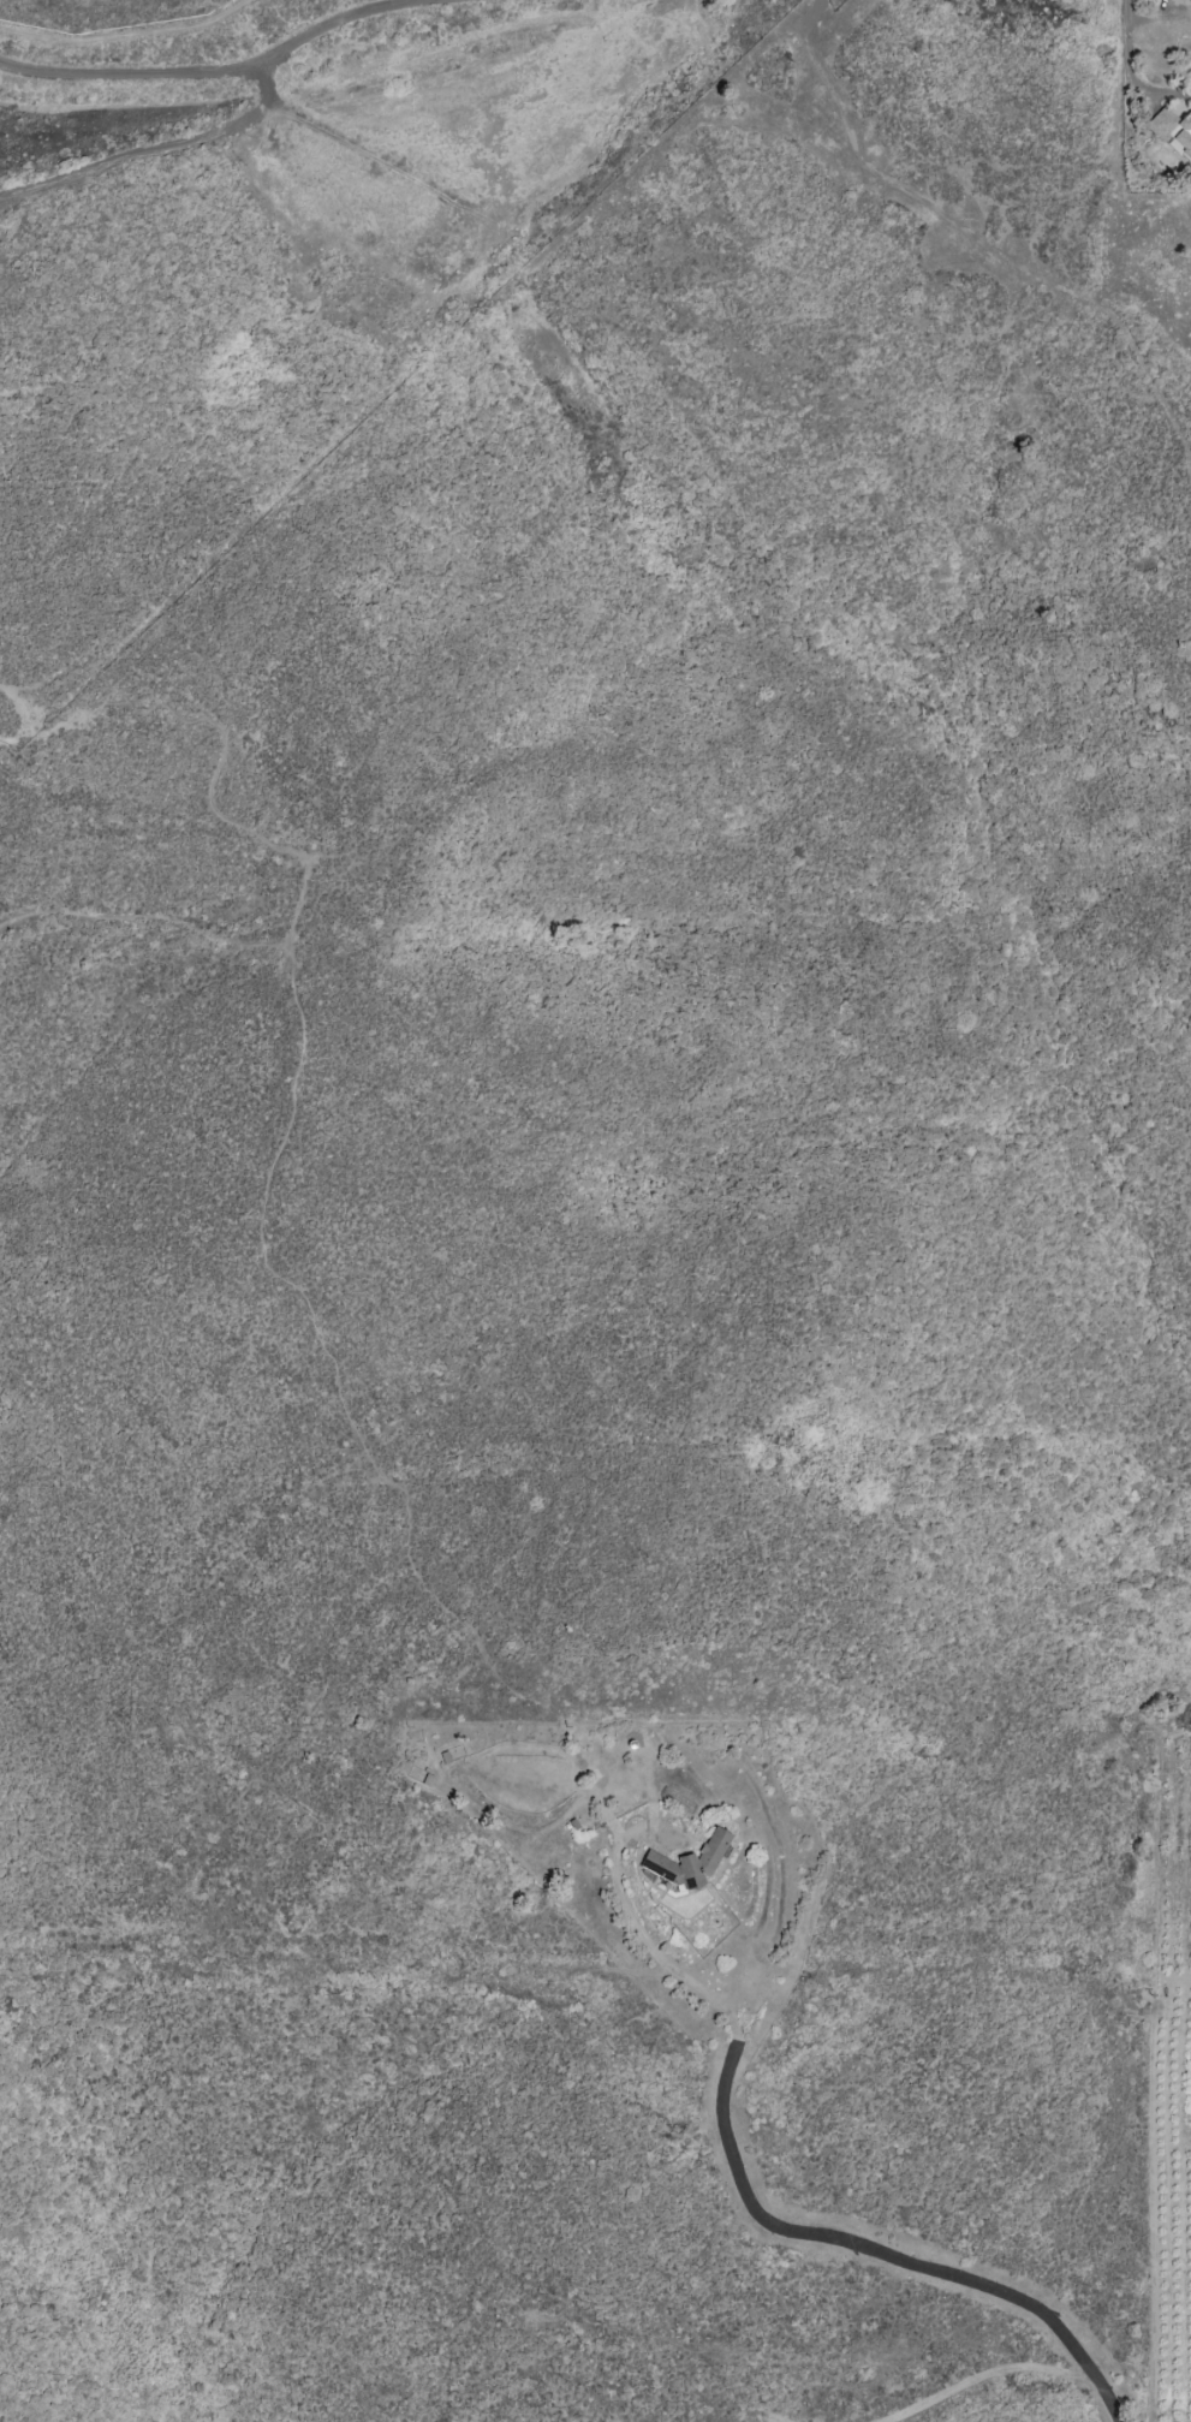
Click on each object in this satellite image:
building: (1178, 1)
landfill: (213, 29)
road: (1127, 72)
road: (233, 124)
building: (1172, 129)
road: (970, 232)
road: (1190, 482)
road: (269, 844)
road: (305, 1302)
building: (686, 1863)
road: (1174, 1976)
road: (776, 2225)
road: (987, 2375)

